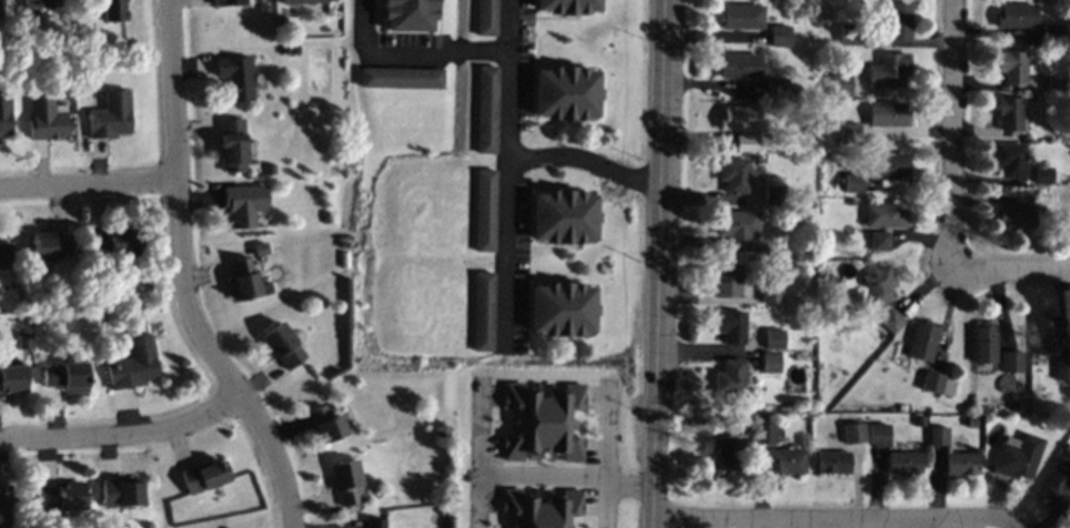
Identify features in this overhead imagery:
building: (301, 1)
building: (229, 2)
building: (42, 3)
building: (566, 6)
building: (113, 10)
building: (0, 12)
building: (1017, 16)
building: (405, 17)
building: (741, 17)
building: (483, 18)
building: (899, 21)
building: (1052, 30)
building: (779, 35)
road: (407, 54)
building: (739, 65)
building: (1012, 67)
building: (889, 70)
building: (236, 77)
building: (398, 79)
building: (840, 84)
building: (776, 88)
building: (563, 95)
building: (483, 111)
building: (4, 112)
building: (888, 114)
building: (1009, 114)
building: (111, 115)
building: (739, 118)
building: (46, 119)
building: (849, 132)
road: (952, 136)
building: (746, 143)
building: (232, 144)
building: (1010, 159)
road: (583, 162)
building: (888, 164)
road: (504, 172)
building: (733, 174)
building: (1042, 174)
building: (854, 183)
road: (89, 185)
building: (773, 194)
building: (244, 203)
building: (482, 211)
building: (885, 214)
building: (1013, 215)
building: (561, 219)
building: (737, 229)
building: (880, 241)
building: (113, 242)
building: (50, 246)
building: (6, 255)
road: (656, 264)
road: (1010, 274)
road: (181, 277)
building: (244, 281)
building: (726, 281)
building: (879, 285)
building: (770, 290)
building: (557, 311)
building: (480, 313)
building: (891, 321)
building: (730, 326)
building: (1046, 334)
building: (773, 338)
building: (922, 341)
building: (983, 344)
building: (281, 346)
building: (1011, 362)
building: (768, 363)
building: (132, 364)
building: (1062, 370)
building: (65, 376)
building: (728, 377)
building: (12, 378)
building: (938, 384)
building: (539, 423)
building: (325, 425)
building: (852, 433)
building: (763, 434)
building: (879, 434)
road: (124, 436)
building: (938, 436)
road: (473, 454)
building: (727, 454)
road: (600, 456)
building: (1018, 456)
building: (784, 460)
building: (832, 461)
building: (904, 463)
building: (961, 463)
building: (203, 476)
road: (563, 477)
building: (345, 481)
building: (1057, 485)
building: (121, 491)
building: (61, 497)
building: (3, 506)
building: (538, 507)
road: (986, 517)
road: (801, 521)
building: (373, 524)

